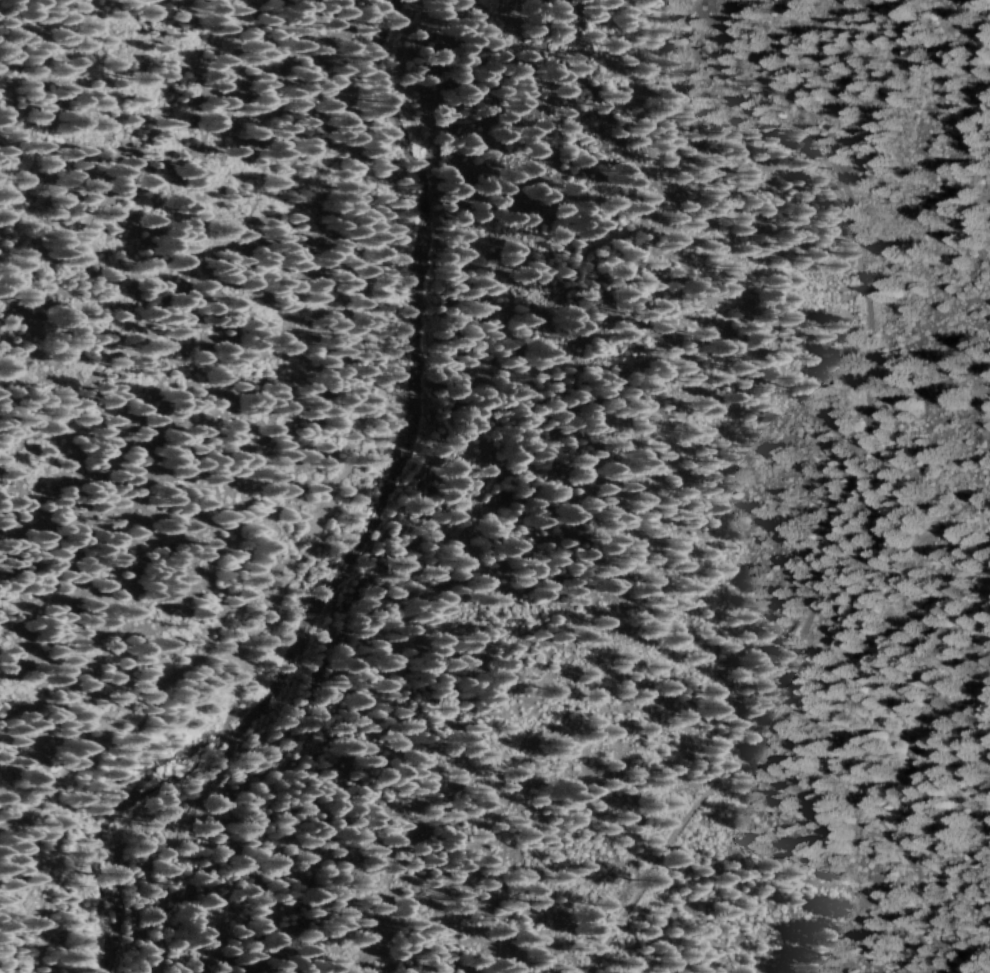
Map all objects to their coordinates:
road: (880, 510)
road: (244, 693)

